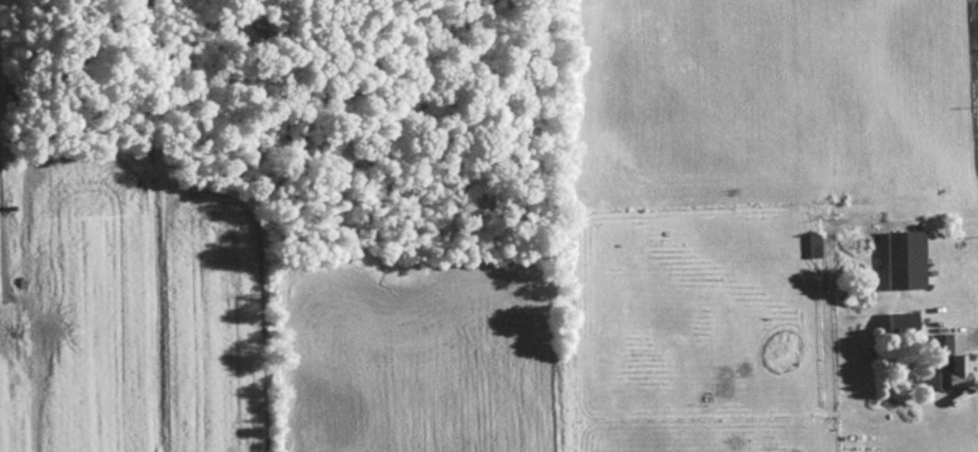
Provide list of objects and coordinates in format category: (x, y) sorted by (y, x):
building: (812, 245)
building: (901, 259)
building: (899, 323)
building: (941, 360)

